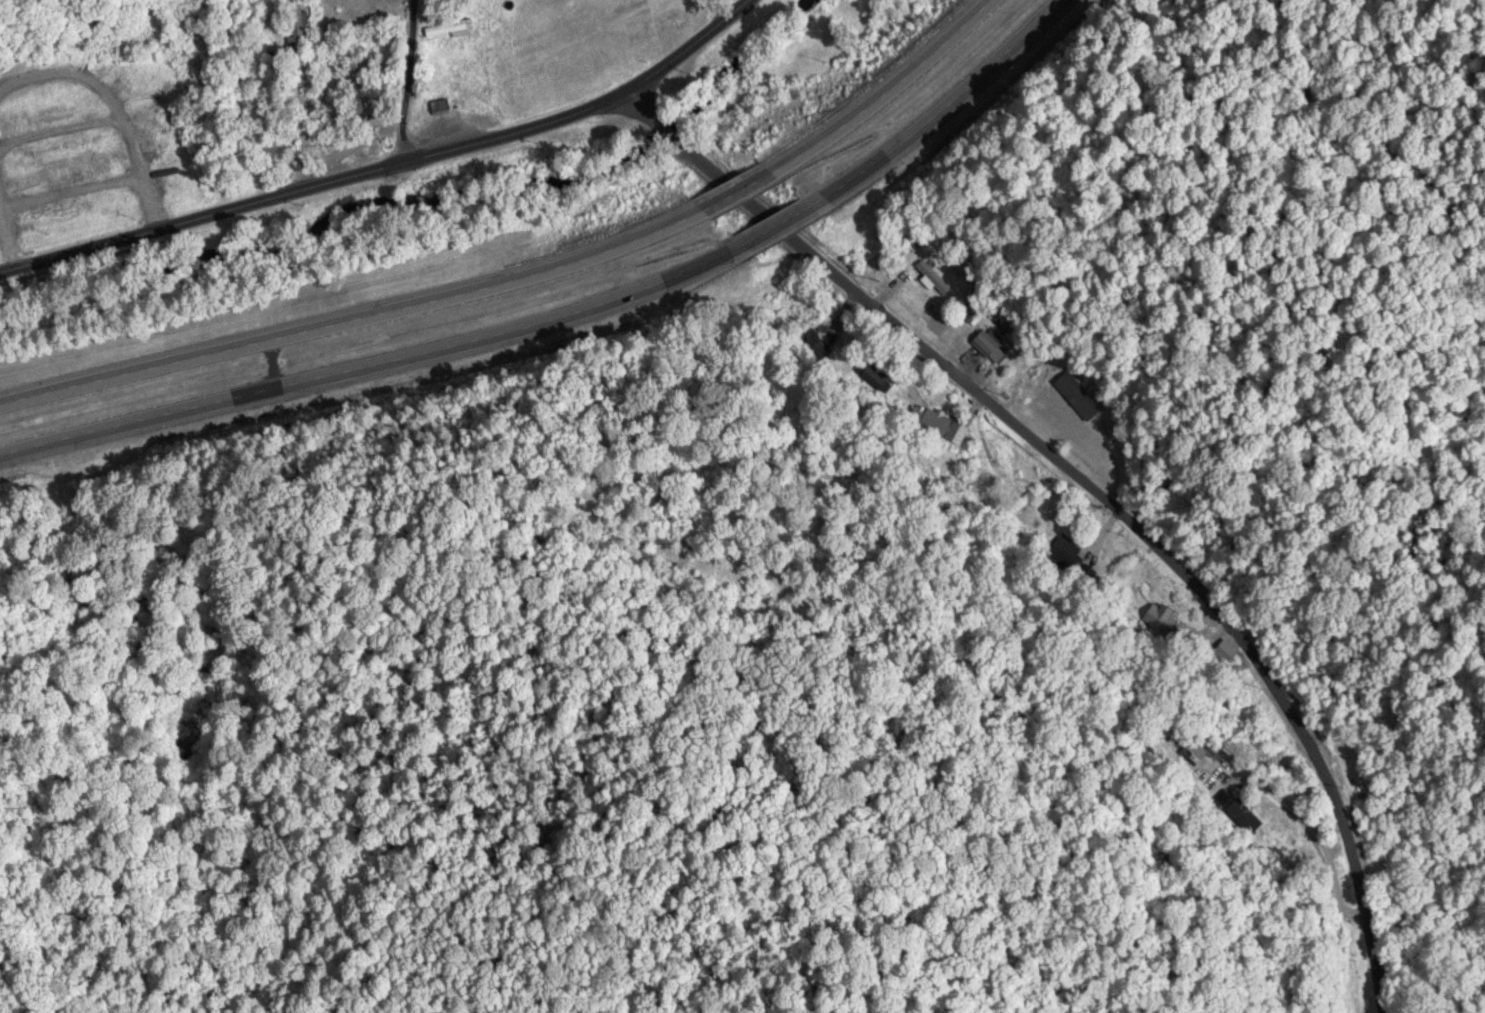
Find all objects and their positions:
building: (445, 27)
building: (301, 29)
road: (398, 80)
road: (883, 91)
building: (443, 104)
road: (941, 109)
road: (387, 165)
road: (740, 188)
road: (776, 226)
road: (355, 314)
building: (986, 343)
road: (372, 361)
building: (870, 371)
building: (941, 424)
building: (1102, 461)
road: (1092, 493)
building: (1224, 649)
building: (1236, 810)

